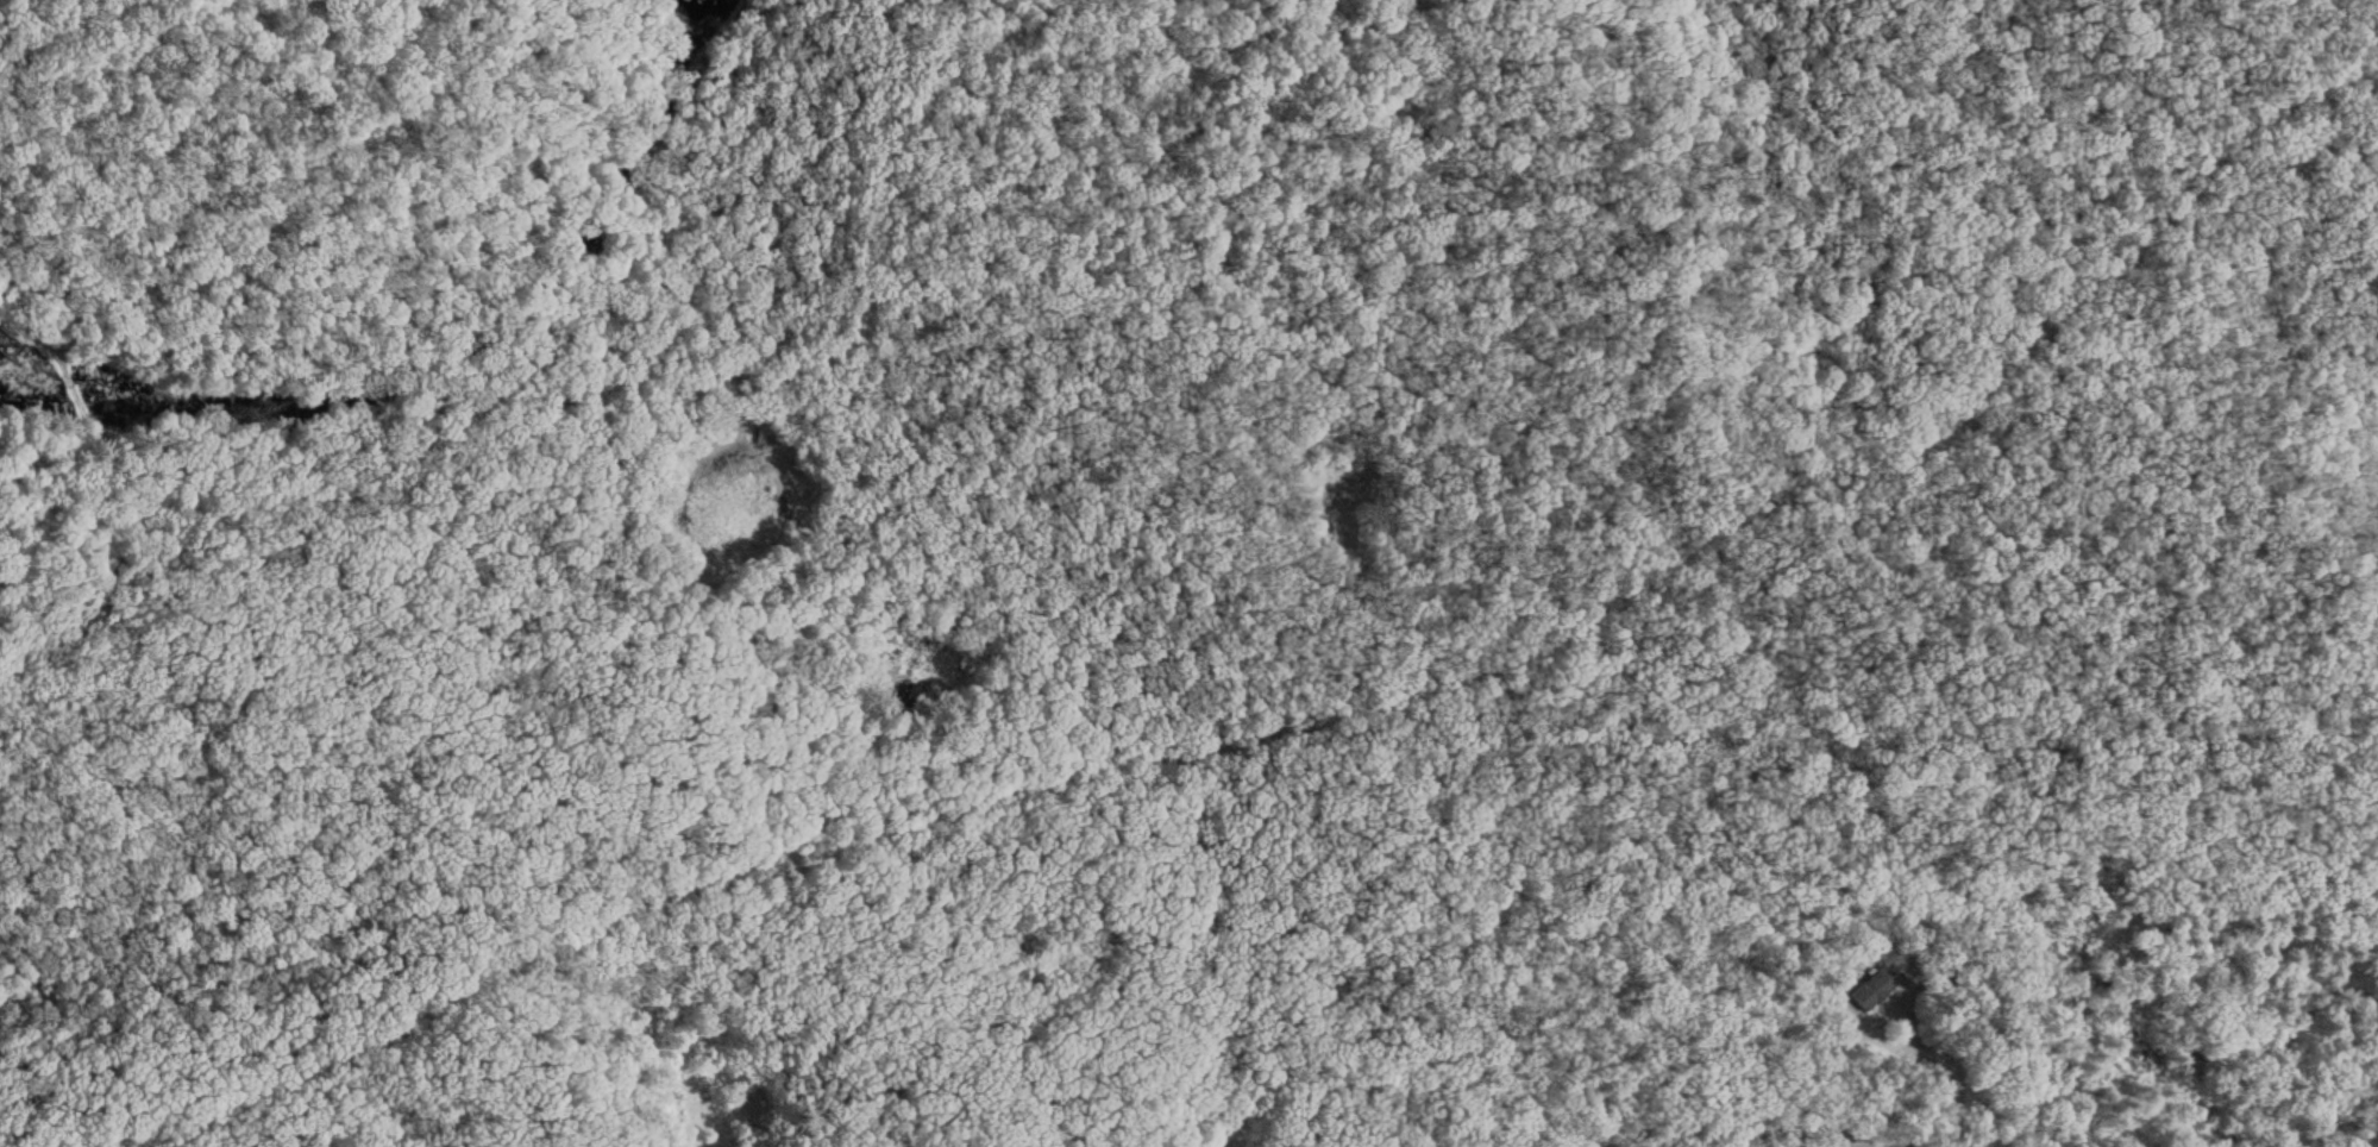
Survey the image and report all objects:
building: (1876, 985)
road: (1934, 1065)

